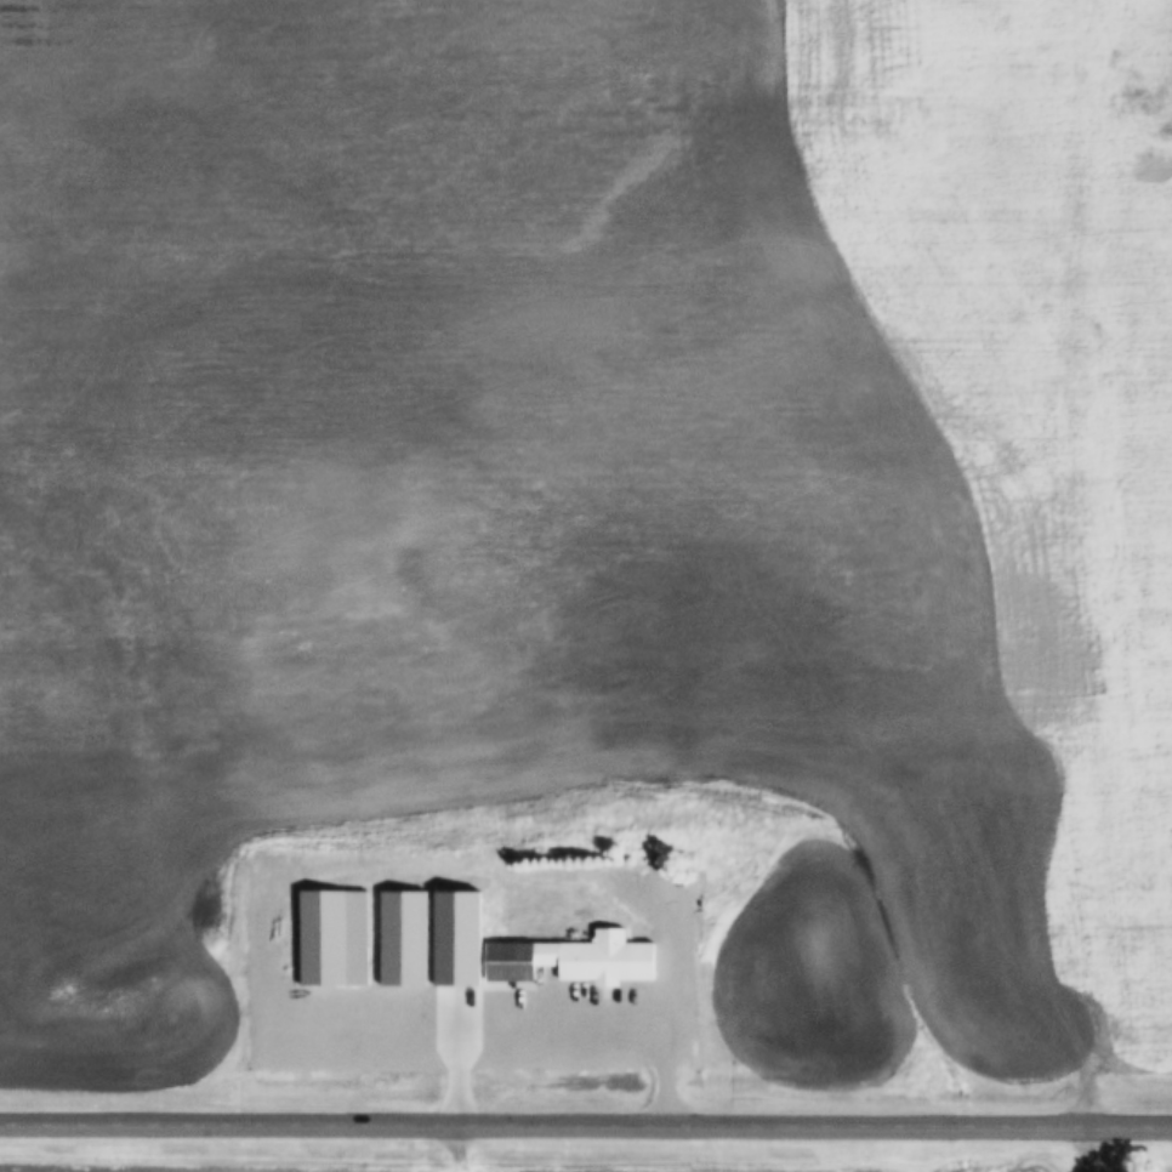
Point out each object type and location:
building: (336, 937)
building: (406, 937)
building: (528, 950)
road: (558, 1008)
road: (585, 1122)

